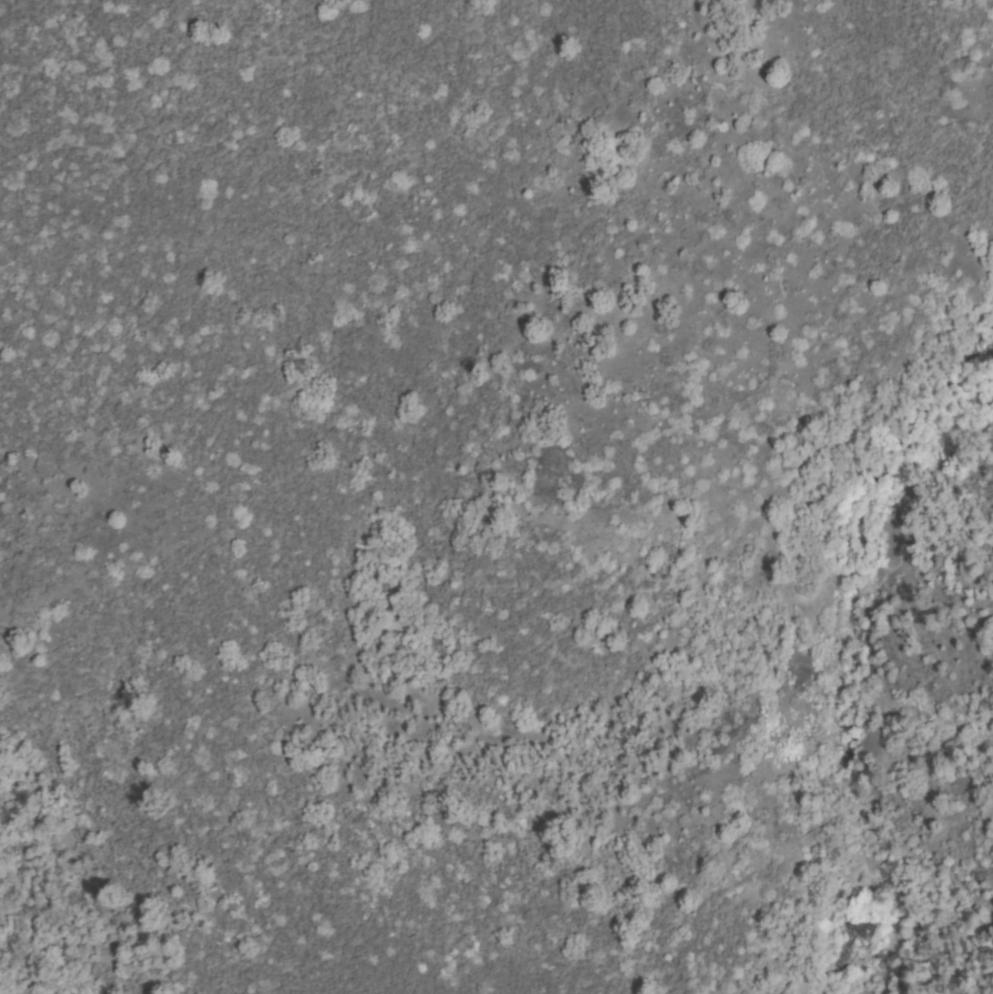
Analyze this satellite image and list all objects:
road: (955, 957)

